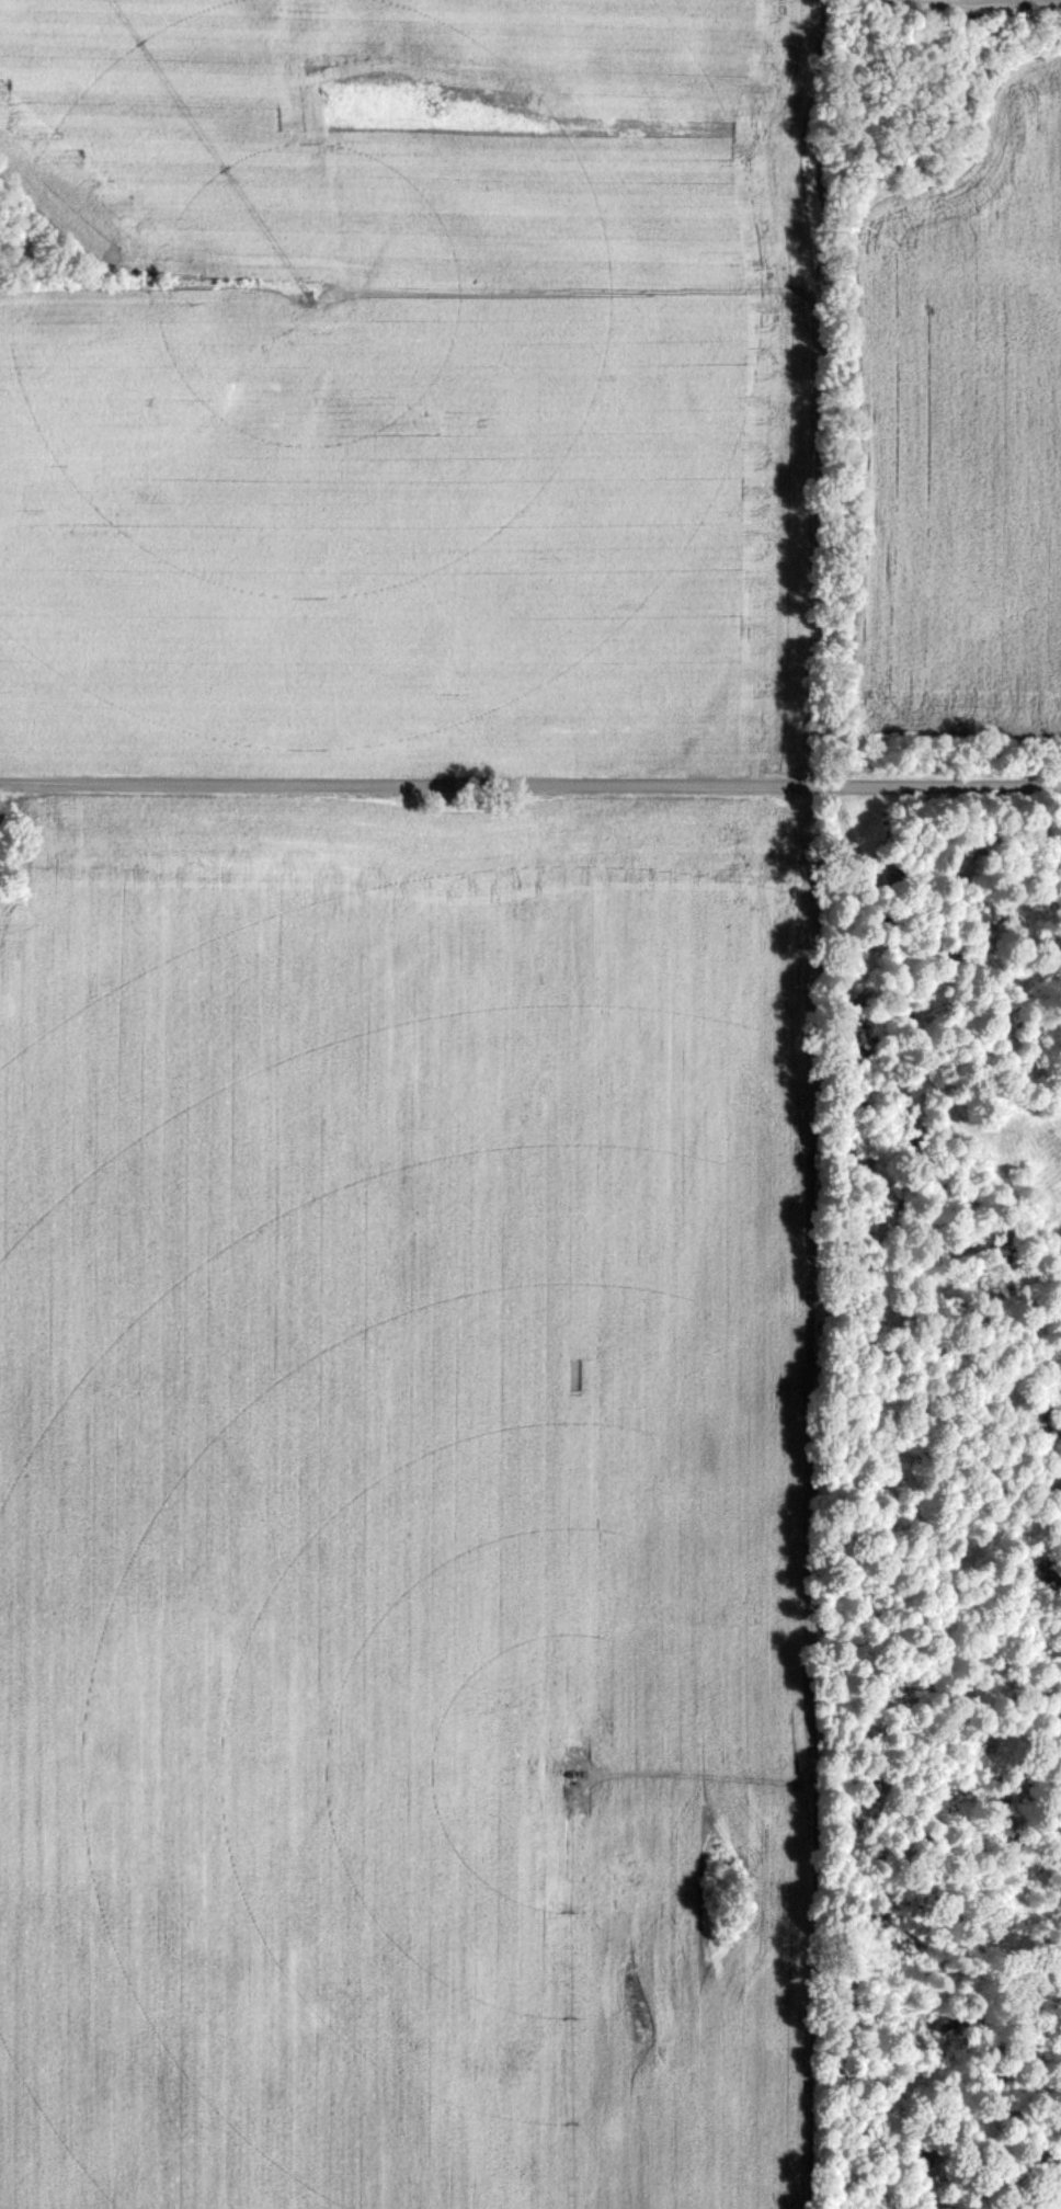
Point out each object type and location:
road: (530, 785)

